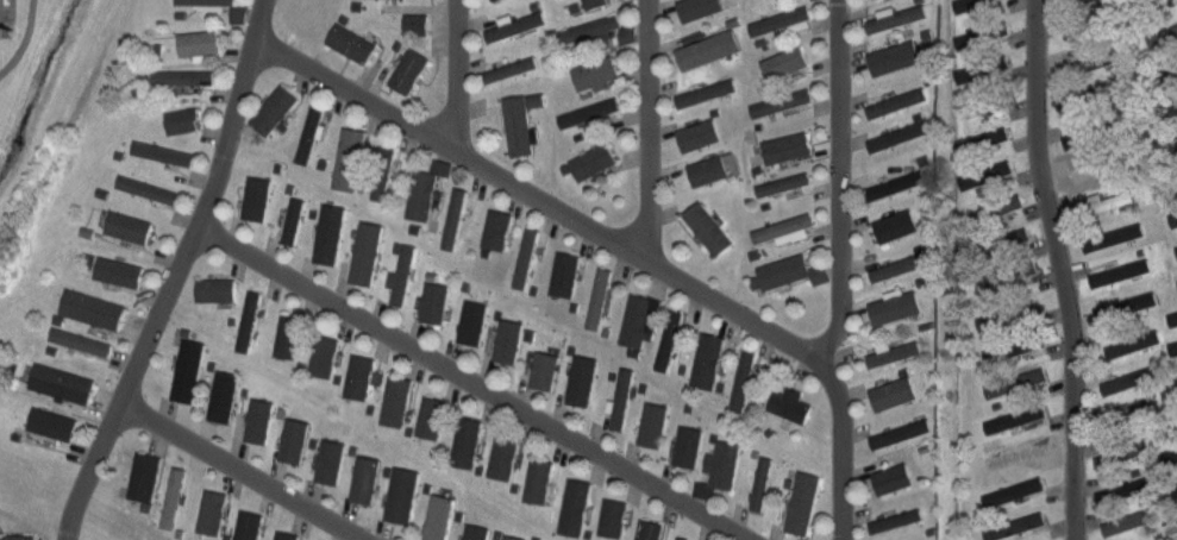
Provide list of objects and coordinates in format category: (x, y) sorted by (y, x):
building: (207, 1)
building: (1073, 1)
building: (973, 2)
building: (594, 4)
building: (1158, 4)
building: (705, 8)
building: (896, 18)
building: (782, 20)
building: (409, 23)
building: (515, 25)
building: (1094, 25)
building: (989, 27)
building: (590, 29)
building: (1166, 37)
road: (26, 40)
building: (199, 42)
building: (352, 43)
building: (708, 49)
building: (895, 55)
building: (1094, 59)
building: (787, 62)
building: (990, 63)
building: (512, 69)
building: (409, 70)
building: (595, 73)
building: (962, 73)
building: (1166, 73)
road: (455, 74)
building: (183, 77)
building: (707, 92)
building: (1091, 96)
building: (897, 101)
building: (782, 102)
building: (988, 102)
building: (1166, 107)
building: (275, 111)
building: (590, 112)
building: (183, 120)
road: (646, 124)
building: (519, 125)
building: (1096, 131)
building: (311, 133)
building: (700, 133)
building: (996, 134)
building: (899, 136)
building: (1064, 139)
building: (1173, 143)
building: (788, 146)
building: (163, 152)
building: (350, 158)
building: (594, 161)
building: (1101, 168)
building: (709, 169)
building: (994, 169)
building: (382, 170)
building: (964, 178)
building: (784, 183)
building: (897, 186)
building: (149, 189)
building: (421, 194)
road: (539, 194)
building: (257, 197)
building: (1104, 202)
building: (991, 208)
building: (455, 215)
building: (1173, 218)
building: (293, 220)
building: (897, 226)
building: (130, 227)
building: (709, 227)
building: (783, 227)
building: (499, 228)
building: (330, 233)
building: (1115, 236)
building: (997, 238)
building: (1176, 246)
building: (367, 253)
building: (526, 257)
building: (897, 268)
road: (1060, 269)
building: (1127, 269)
building: (783, 270)
building: (1003, 270)
building: (119, 271)
building: (565, 274)
road: (177, 275)
building: (403, 275)
road: (841, 276)
building: (1175, 283)
building: (215, 288)
building: (599, 297)
building: (434, 302)
building: (1134, 303)
building: (896, 307)
building: (94, 309)
building: (1006, 314)
building: (1175, 316)
building: (478, 318)
building: (249, 320)
building: (638, 320)
building: (468, 321)
building: (289, 334)
building: (670, 339)
building: (509, 340)
building: (81, 341)
building: (1133, 341)
building: (1020, 343)
building: (1170, 345)
building: (894, 352)
building: (324, 356)
building: (708, 359)
building: (544, 369)
building: (188, 370)
building: (359, 375)
building: (1129, 377)
building: (582, 379)
building: (744, 379)
building: (1015, 381)
building: (63, 382)
building: (1173, 384)
road: (474, 387)
building: (894, 391)
building: (224, 395)
building: (622, 398)
building: (395, 401)
building: (793, 403)
building: (1128, 414)
building: (431, 416)
building: (1013, 419)
building: (1171, 420)
building: (259, 421)
building: (54, 423)
building: (653, 423)
building: (900, 433)
building: (295, 440)
building: (468, 441)
building: (688, 446)
building: (1120, 453)
building: (1170, 453)
building: (1015, 454)
building: (503, 458)
building: (331, 460)
building: (725, 463)
road: (236, 475)
building: (145, 476)
building: (896, 477)
building: (367, 479)
building: (539, 479)
building: (762, 482)
building: (1125, 489)
building: (1172, 489)
building: (1008, 490)
park: (30, 492)
building: (403, 494)
building: (174, 497)
building: (805, 502)
building: (575, 507)
building: (212, 511)
building: (440, 516)
building: (614, 517)
building: (895, 521)
building: (1122, 521)
road: (24, 522)
building: (1012, 523)
building: (250, 526)
building: (1170, 526)
building: (650, 529)
building: (477, 532)
building: (286, 534)
building: (18, 536)
building: (513, 536)
building: (682, 538)
building: (1135, 538)

